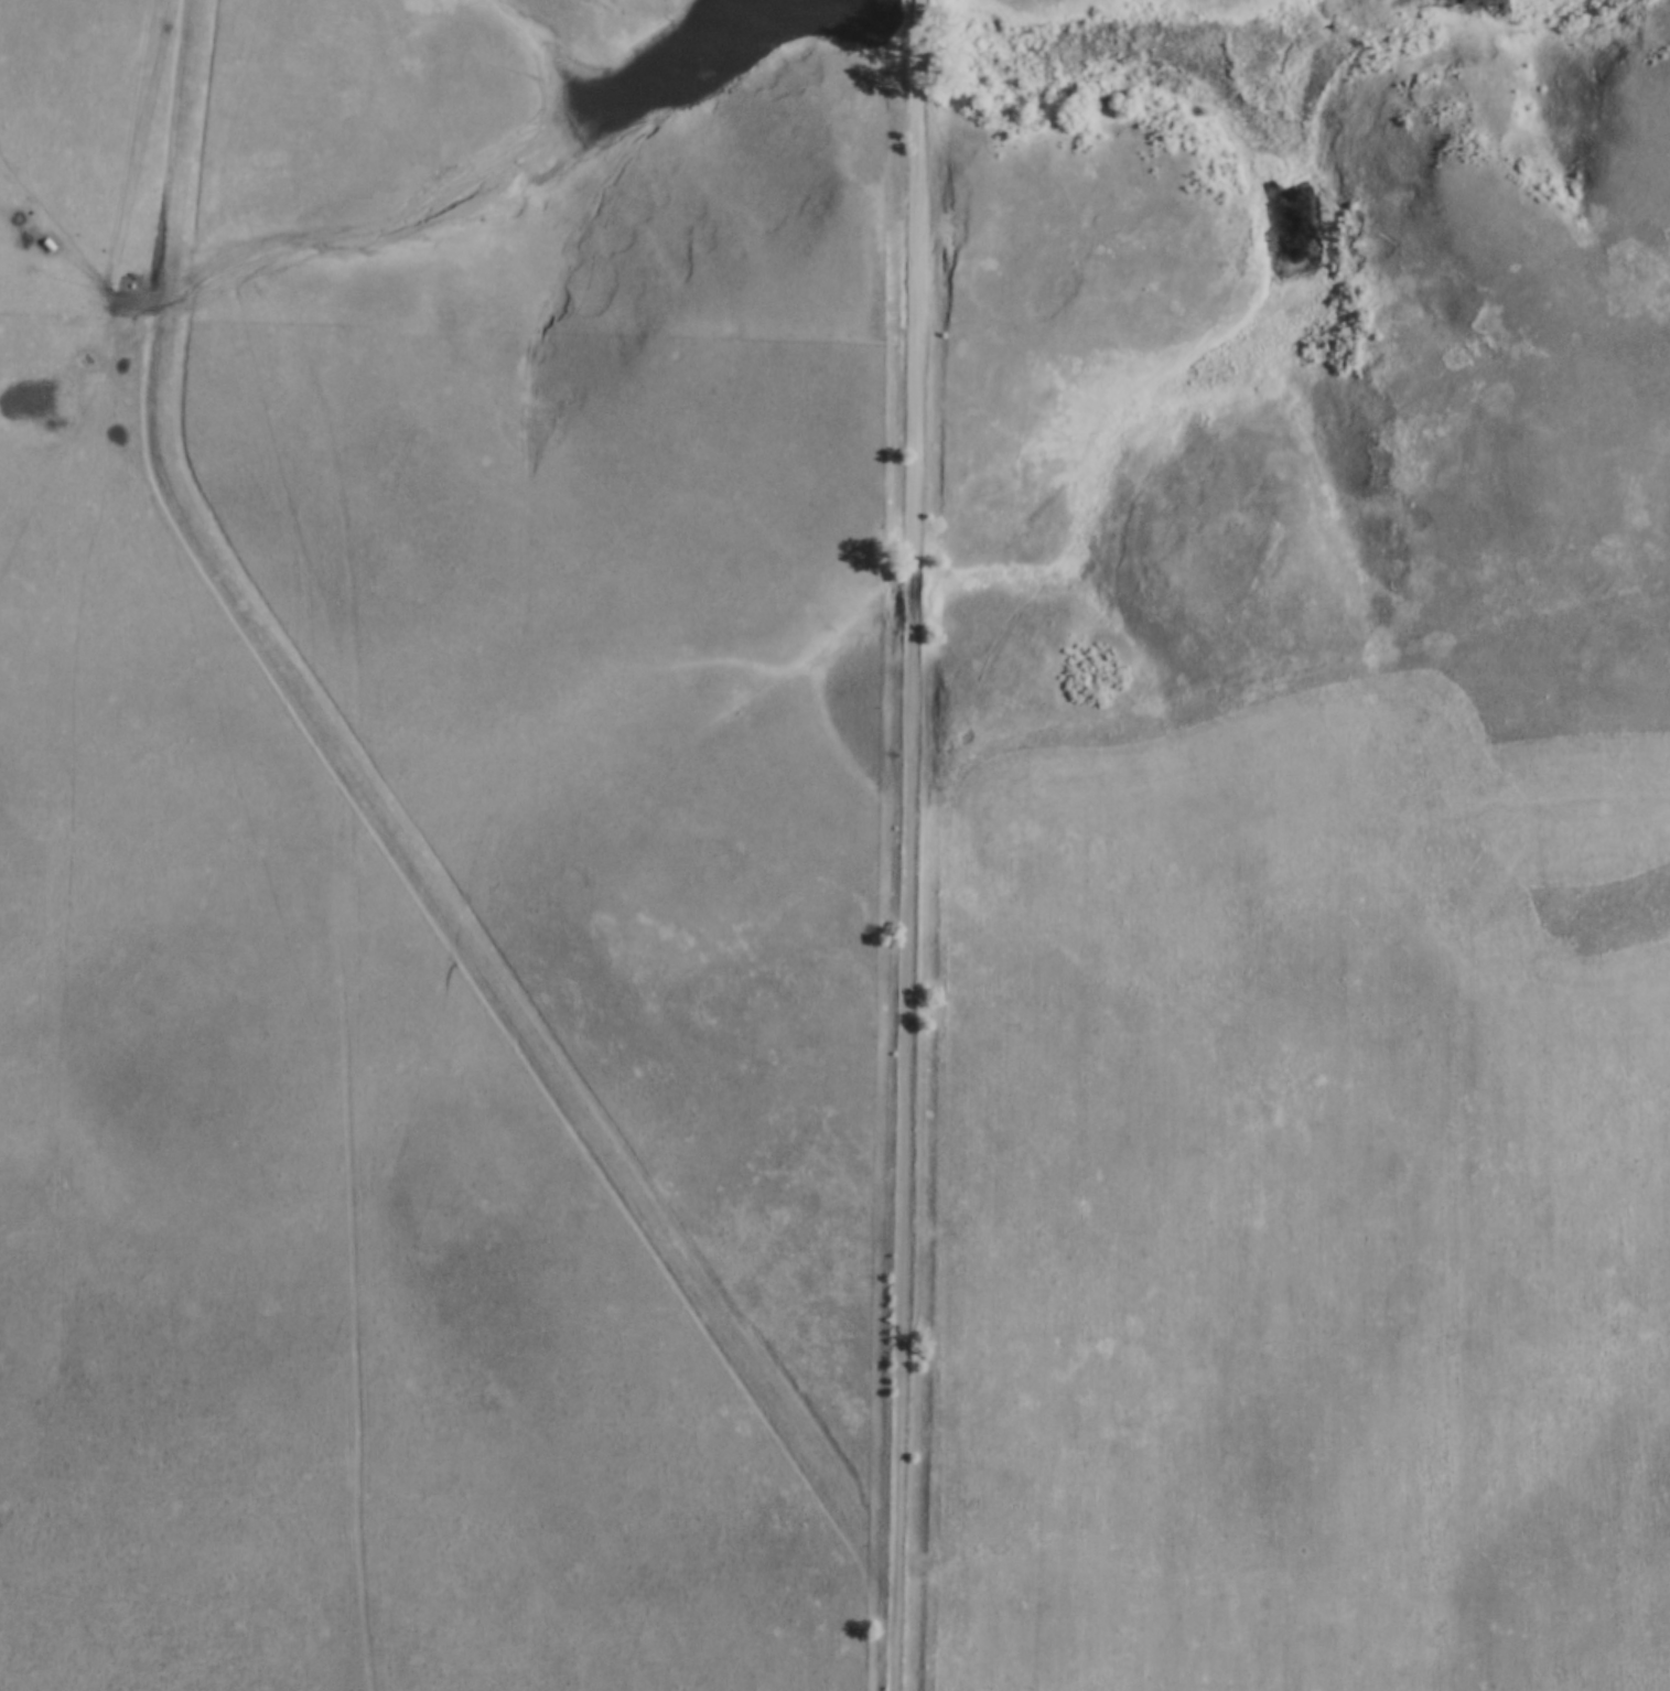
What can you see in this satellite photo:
park: (1652, 24)
road: (908, 844)

